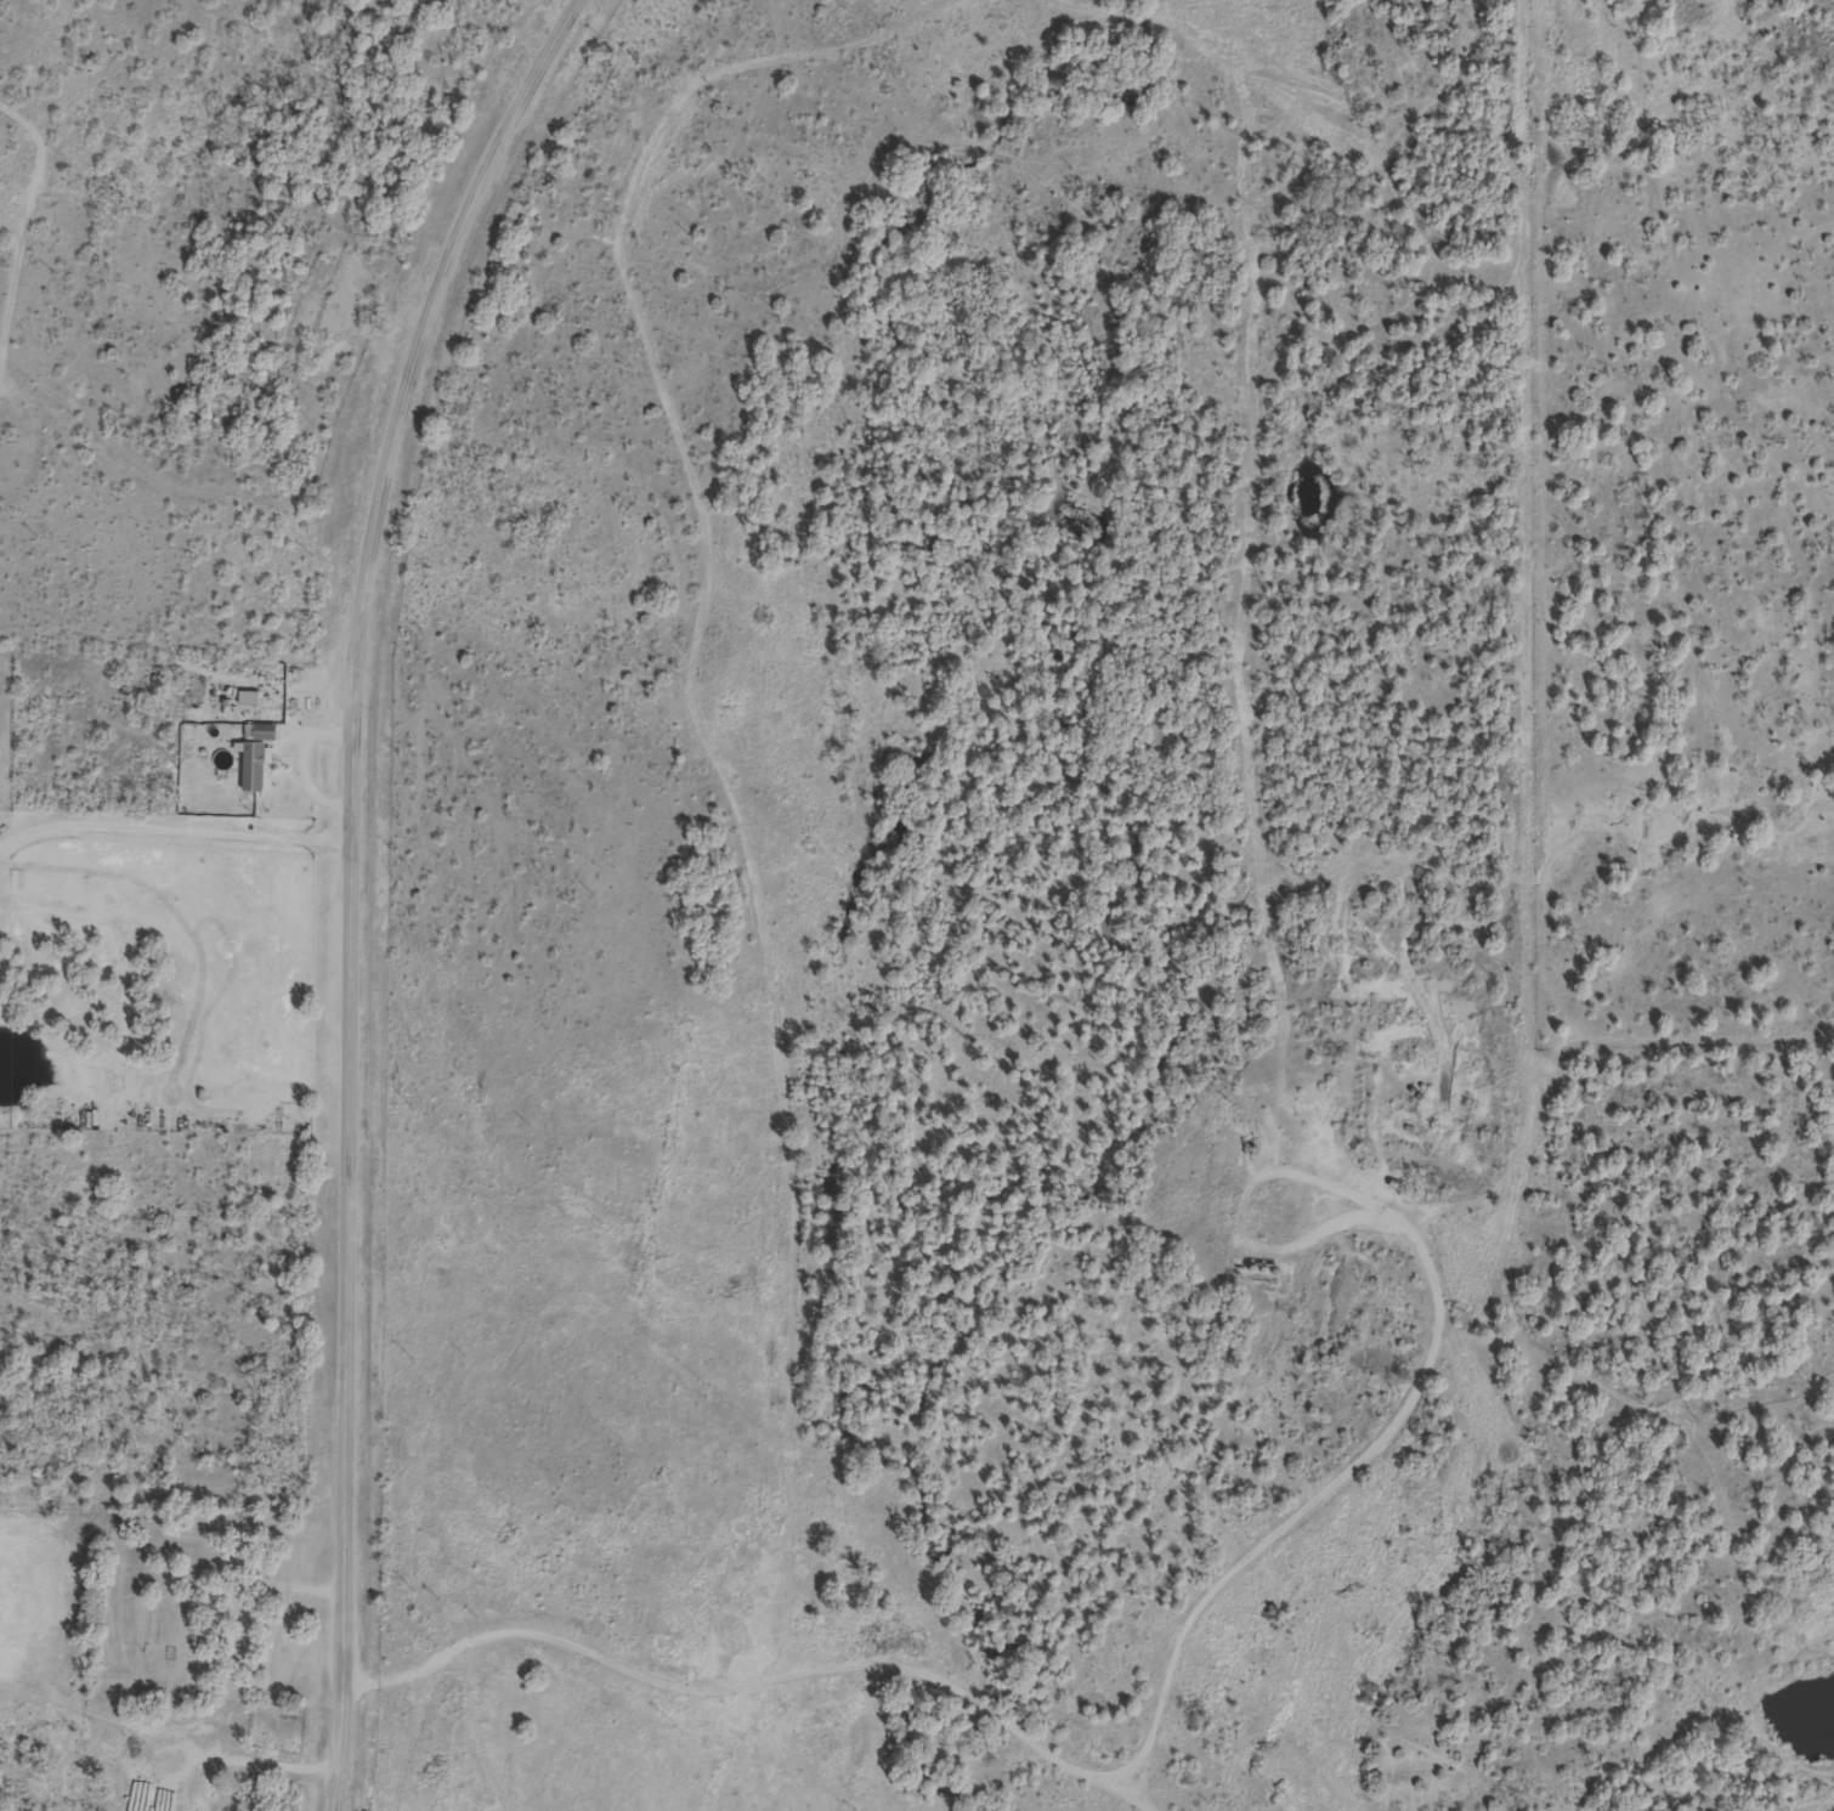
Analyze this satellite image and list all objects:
building: (260, 732)
building: (254, 768)
road: (356, 884)
park: (177, 1606)

